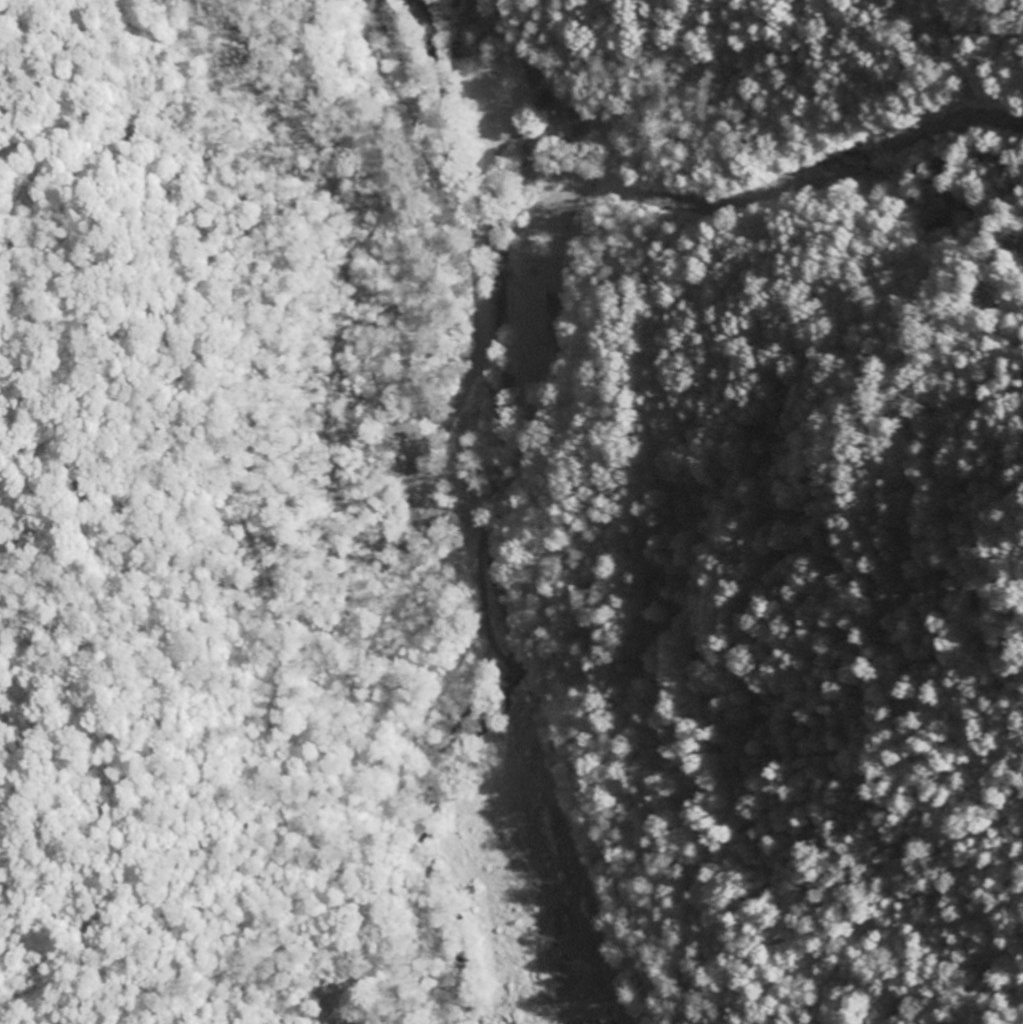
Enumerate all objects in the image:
building: (543, 102)
road: (488, 516)
building: (598, 1021)

